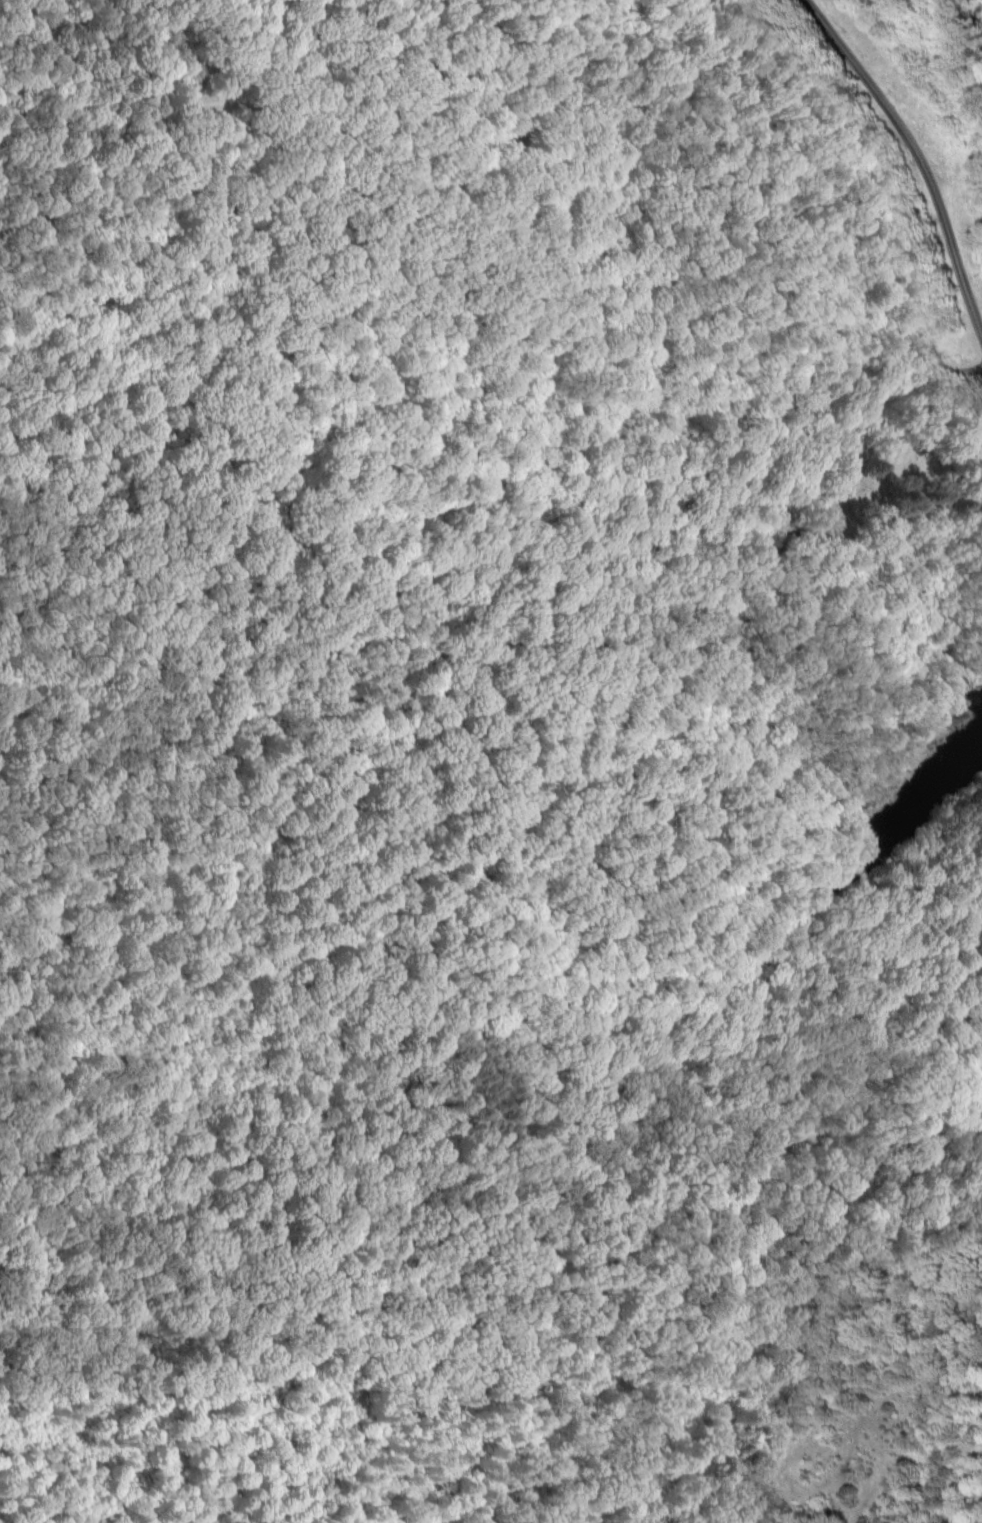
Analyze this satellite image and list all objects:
road: (917, 148)

